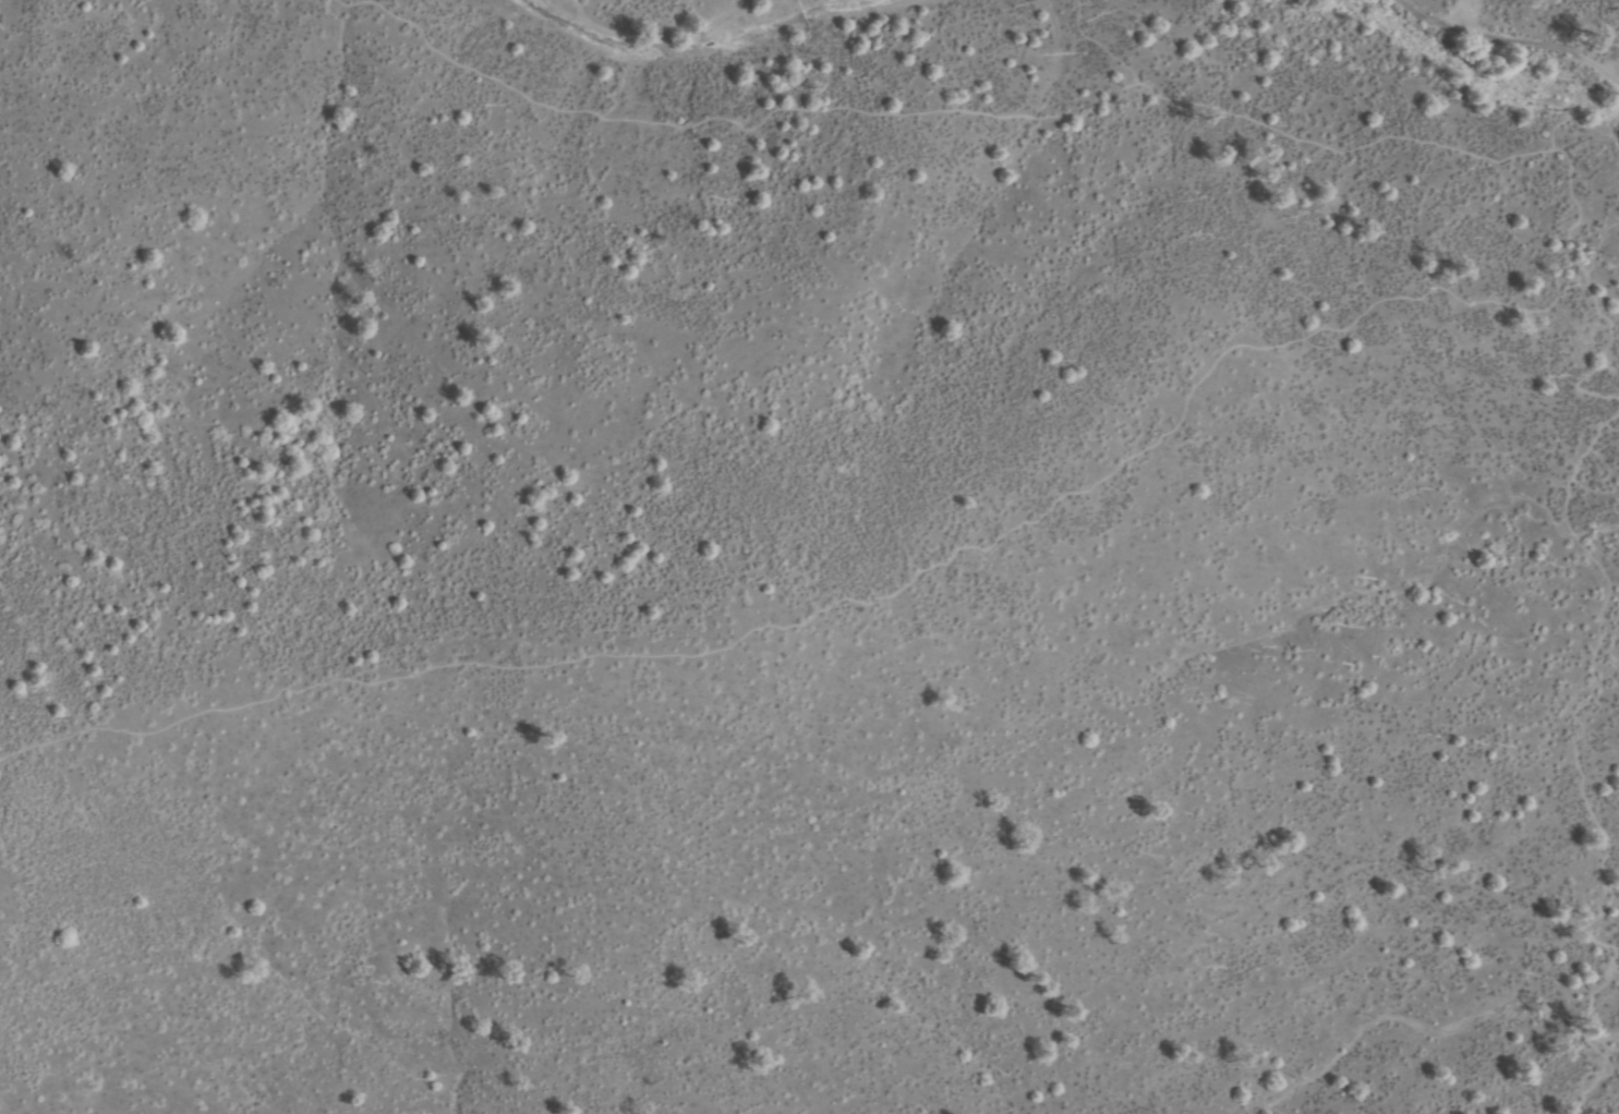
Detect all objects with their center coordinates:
road: (1508, 40)
road: (1595, 393)

